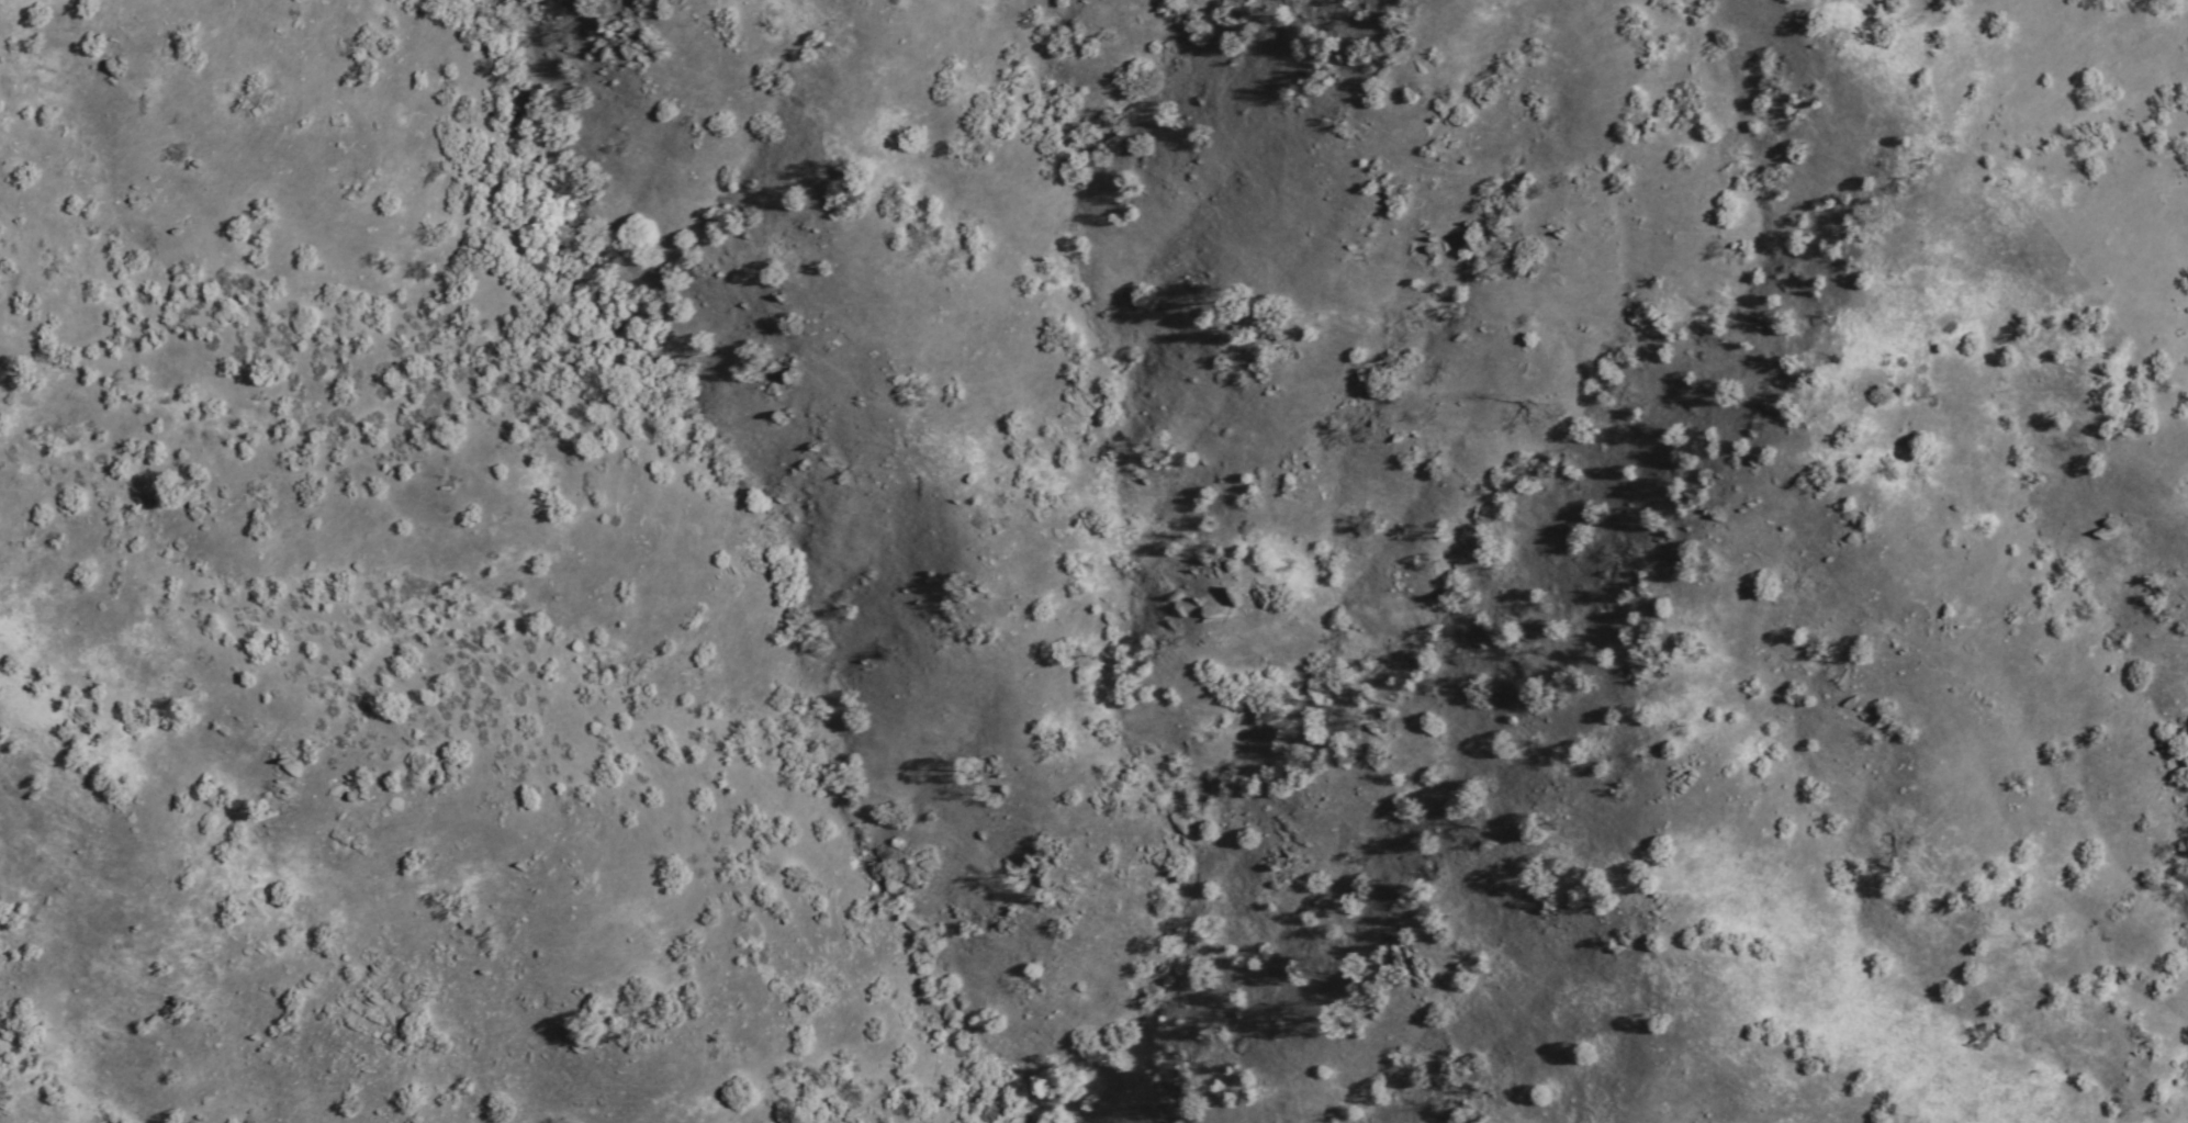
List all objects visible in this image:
road: (10, 661)

